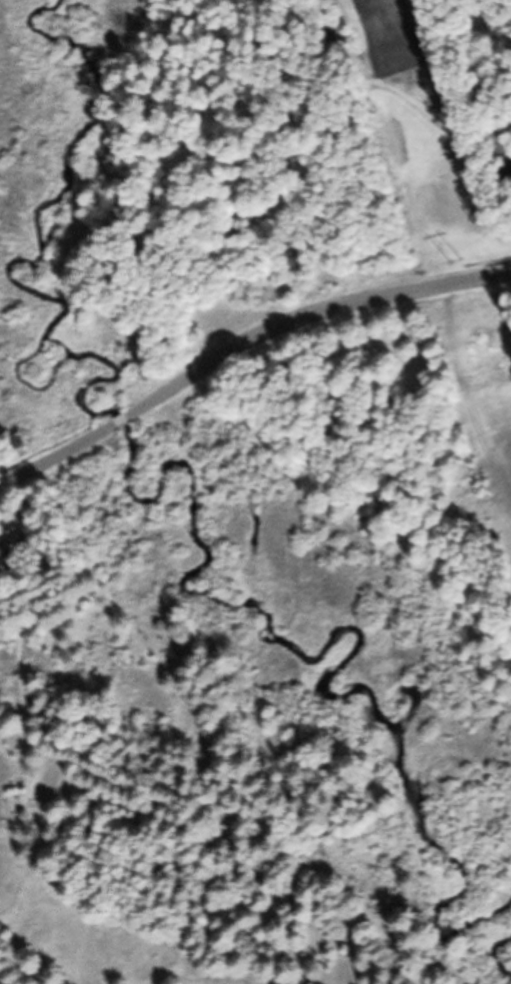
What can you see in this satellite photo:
power tower: (432, 267)
road: (246, 350)
building: (11, 556)

